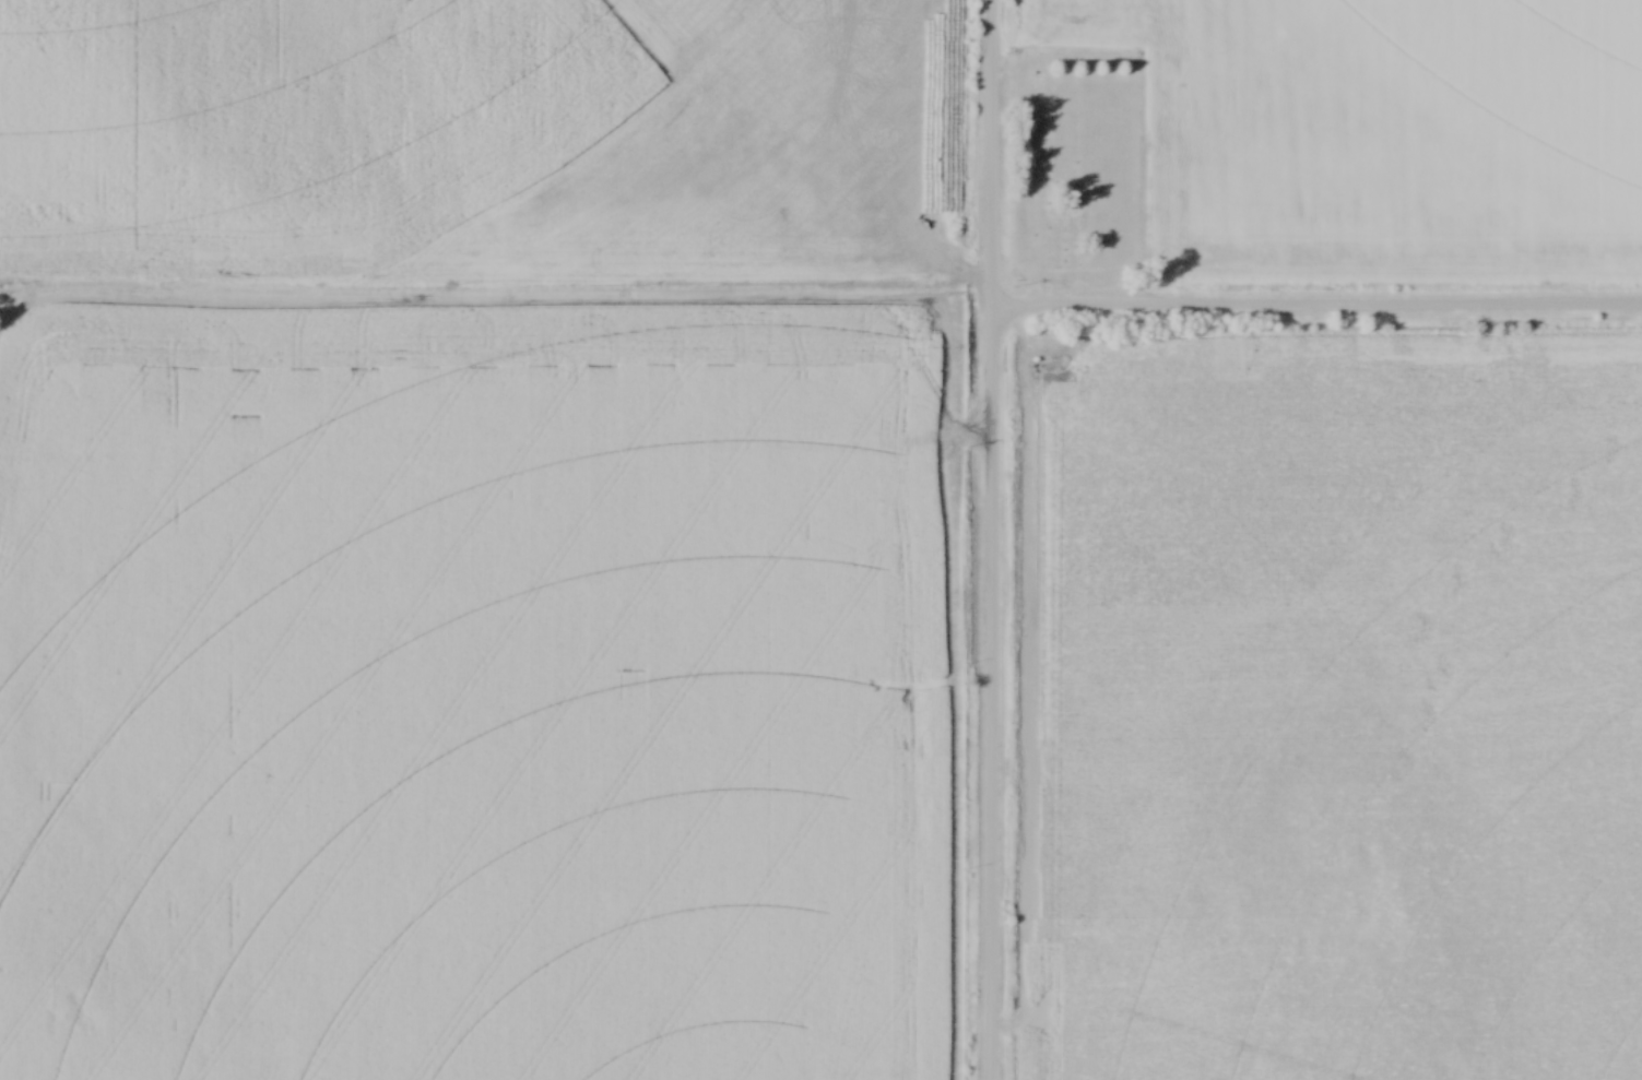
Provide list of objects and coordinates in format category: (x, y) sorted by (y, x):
park: (1087, 154)
road: (1316, 307)
road: (496, 453)
road: (991, 539)

